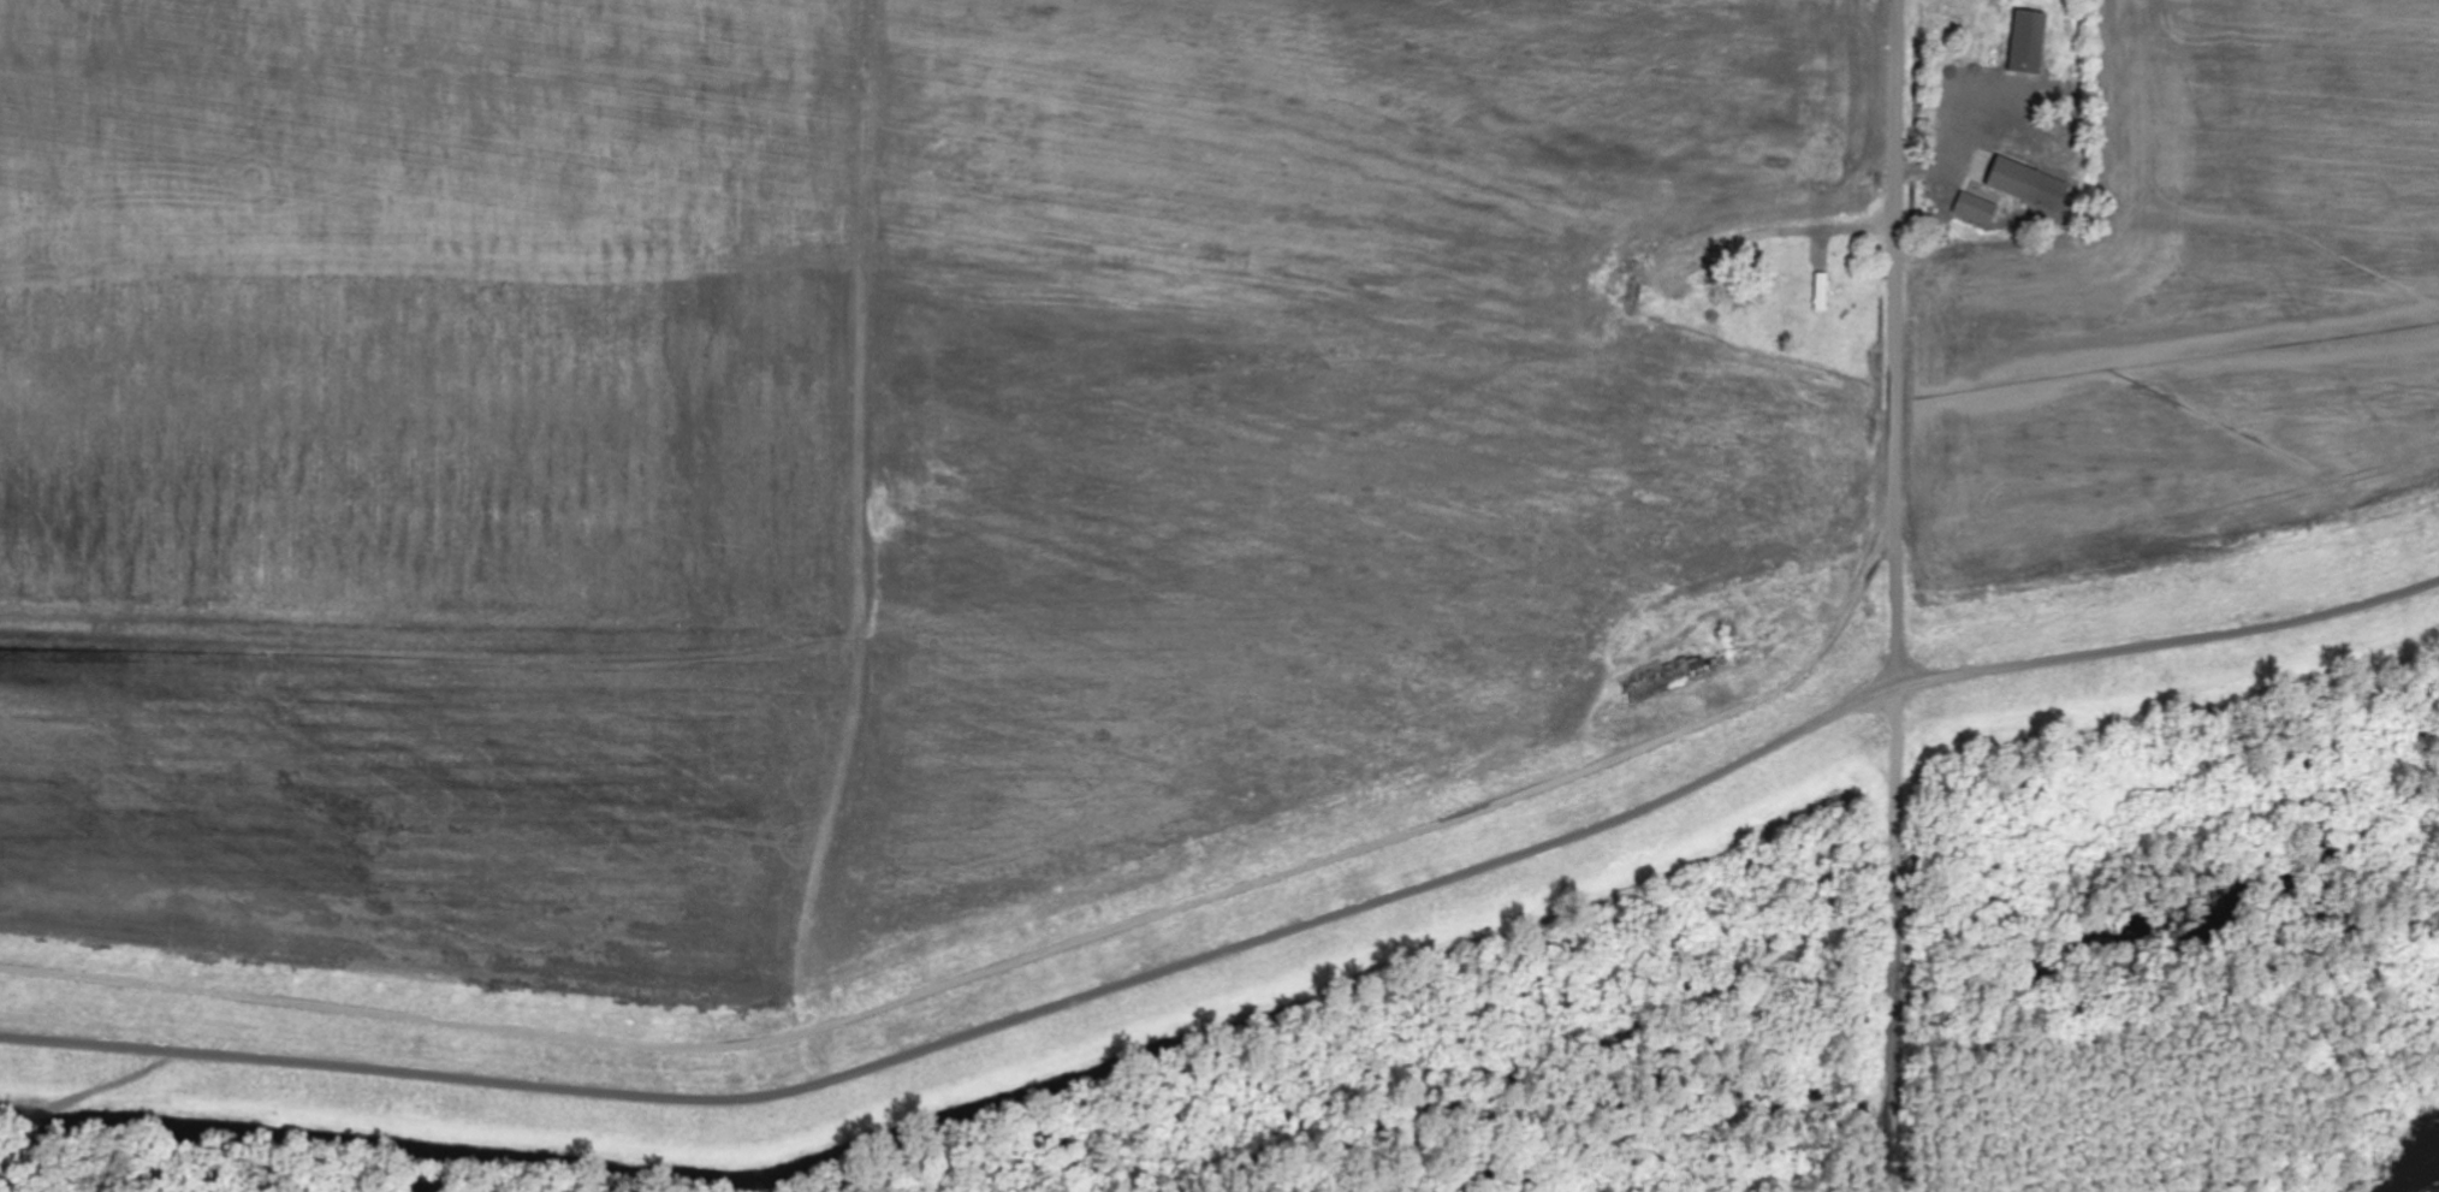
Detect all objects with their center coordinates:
building: (2034, 43)
building: (2034, 186)
building: (1980, 209)
road: (1830, 231)
road: (1899, 285)
road: (1899, 696)
road: (1238, 945)
road: (1010, 963)
road: (1898, 1008)

